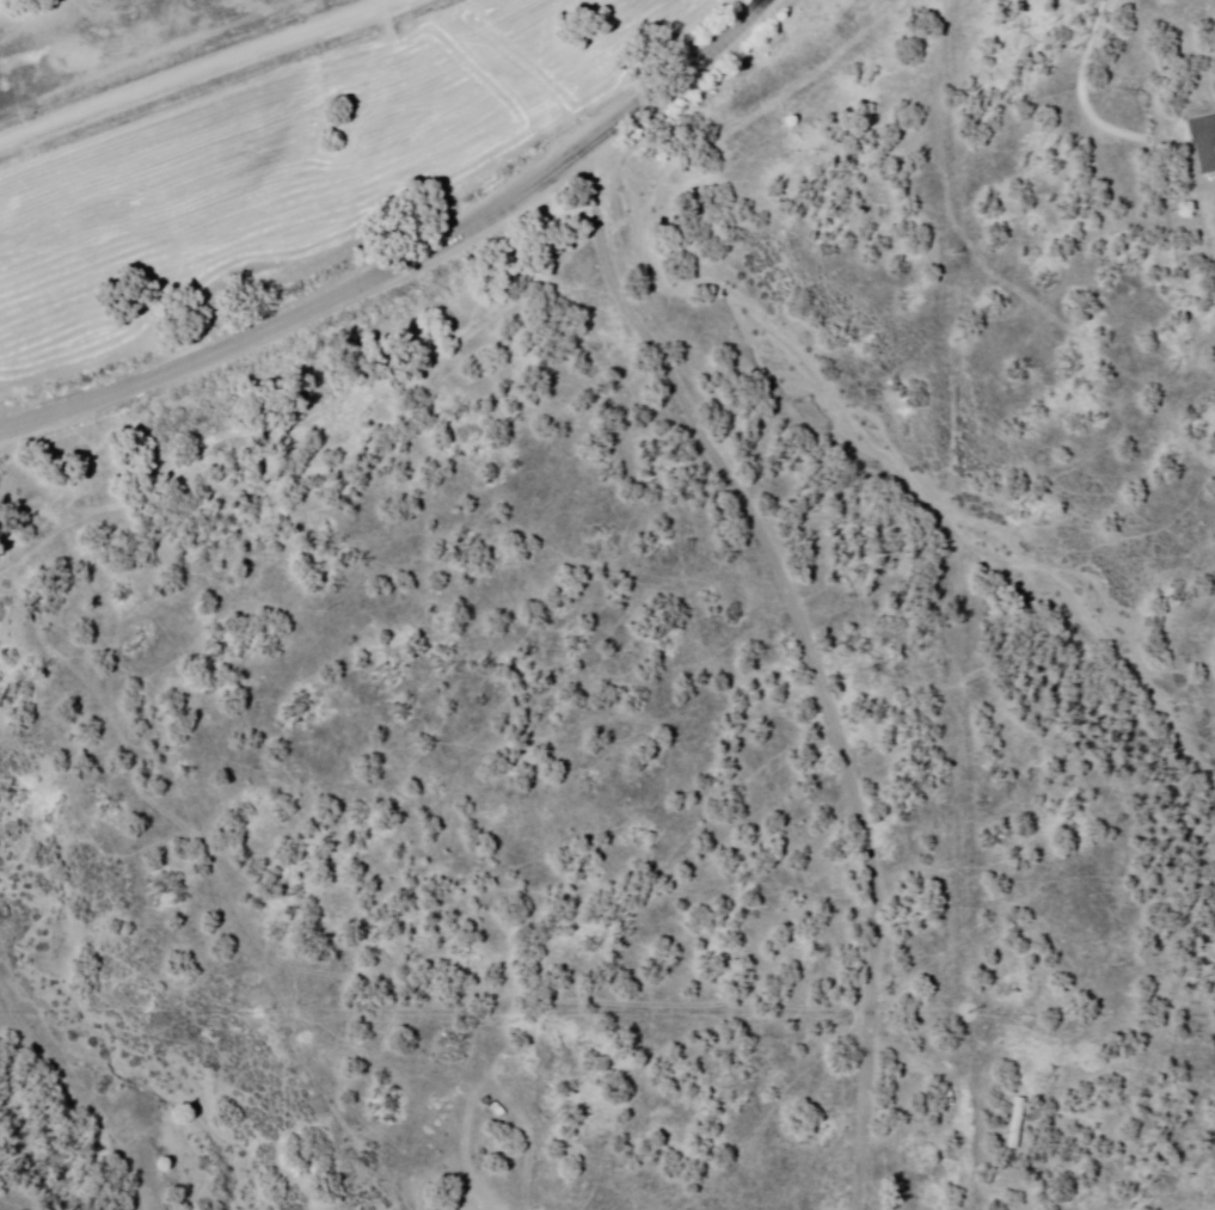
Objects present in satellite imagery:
road: (197, 70)
building: (1203, 139)
building: (1195, 259)
road: (409, 260)
road: (777, 567)
road: (933, 1063)
building: (492, 1110)
road: (865, 1111)
building: (1017, 1120)

